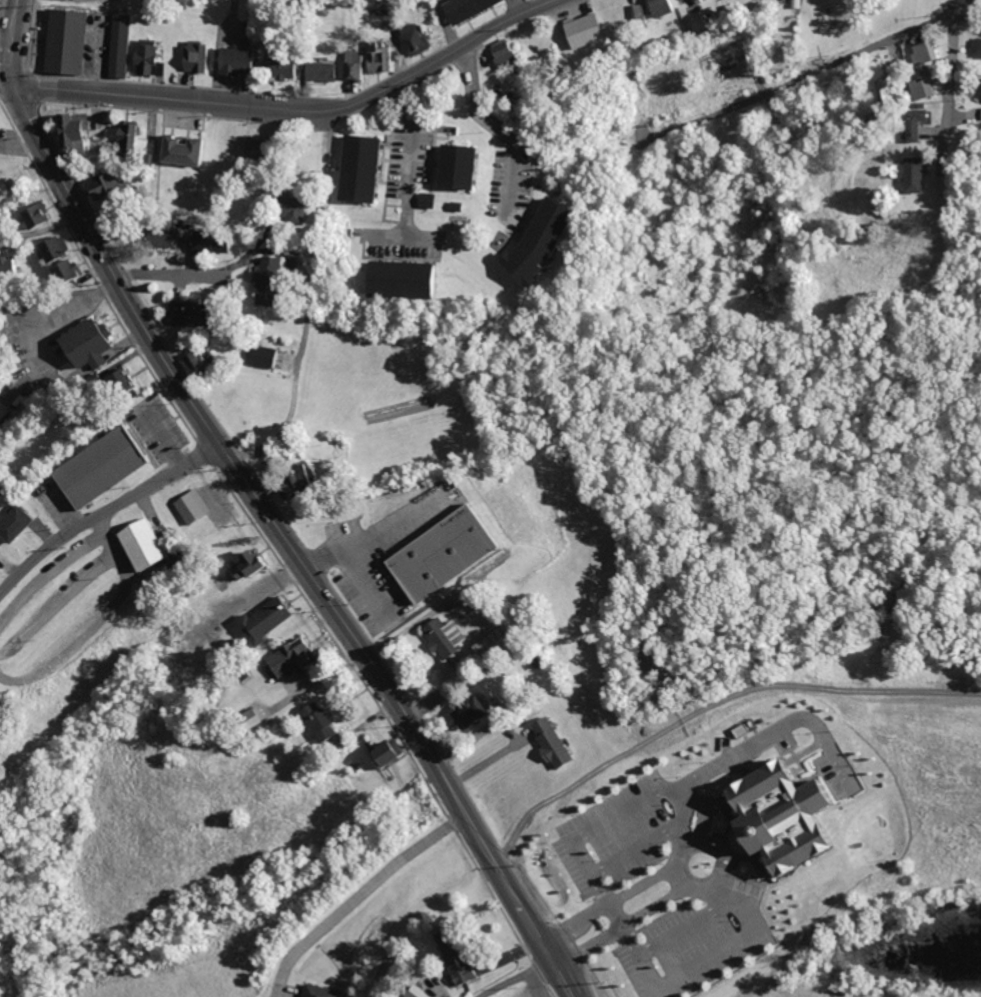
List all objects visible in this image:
building: (977, 1)
building: (659, 7)
building: (462, 8)
building: (636, 14)
building: (581, 31)
building: (410, 39)
building: (65, 40)
building: (119, 45)
building: (371, 45)
building: (975, 48)
building: (500, 51)
building: (921, 52)
building: (194, 57)
building: (145, 58)
building: (378, 60)
building: (231, 61)
building: (349, 64)
building: (360, 66)
building: (279, 69)
building: (318, 71)
road: (789, 74)
road: (945, 82)
road: (6, 84)
traffic signals: (13, 85)
building: (919, 89)
road: (296, 108)
building: (980, 113)
road: (487, 121)
building: (910, 125)
building: (69, 132)
building: (125, 137)
building: (248, 149)
building: (179, 151)
road: (409, 154)
building: (451, 167)
building: (353, 169)
building: (907, 174)
building: (102, 184)
building: (423, 199)
building: (286, 209)
building: (33, 214)
building: (157, 236)
building: (529, 243)
building: (205, 245)
building: (49, 248)
building: (7, 267)
building: (264, 269)
building: (60, 271)
road: (156, 274)
building: (396, 280)
building: (176, 314)
building: (40, 328)
building: (83, 339)
building: (259, 355)
building: (194, 361)
building: (117, 381)
building: (2, 403)
parking lot: (155, 428)
building: (99, 469)
parking lot: (55, 500)
building: (196, 506)
road: (263, 507)
road: (104, 509)
building: (13, 525)
road: (94, 538)
building: (149, 543)
building: (451, 552)
building: (3, 564)
building: (249, 566)
road: (43, 577)
road: (56, 599)
building: (269, 619)
road: (79, 631)
building: (449, 636)
building: (500, 641)
building: (298, 656)
building: (474, 712)
building: (324, 721)
building: (4, 723)
building: (546, 741)
building: (393, 751)
building: (788, 815)
road: (673, 876)
road: (610, 919)
road: (556, 951)
building: (449, 960)
road: (503, 973)
road: (533, 980)
building: (316, 991)
building: (413, 992)

